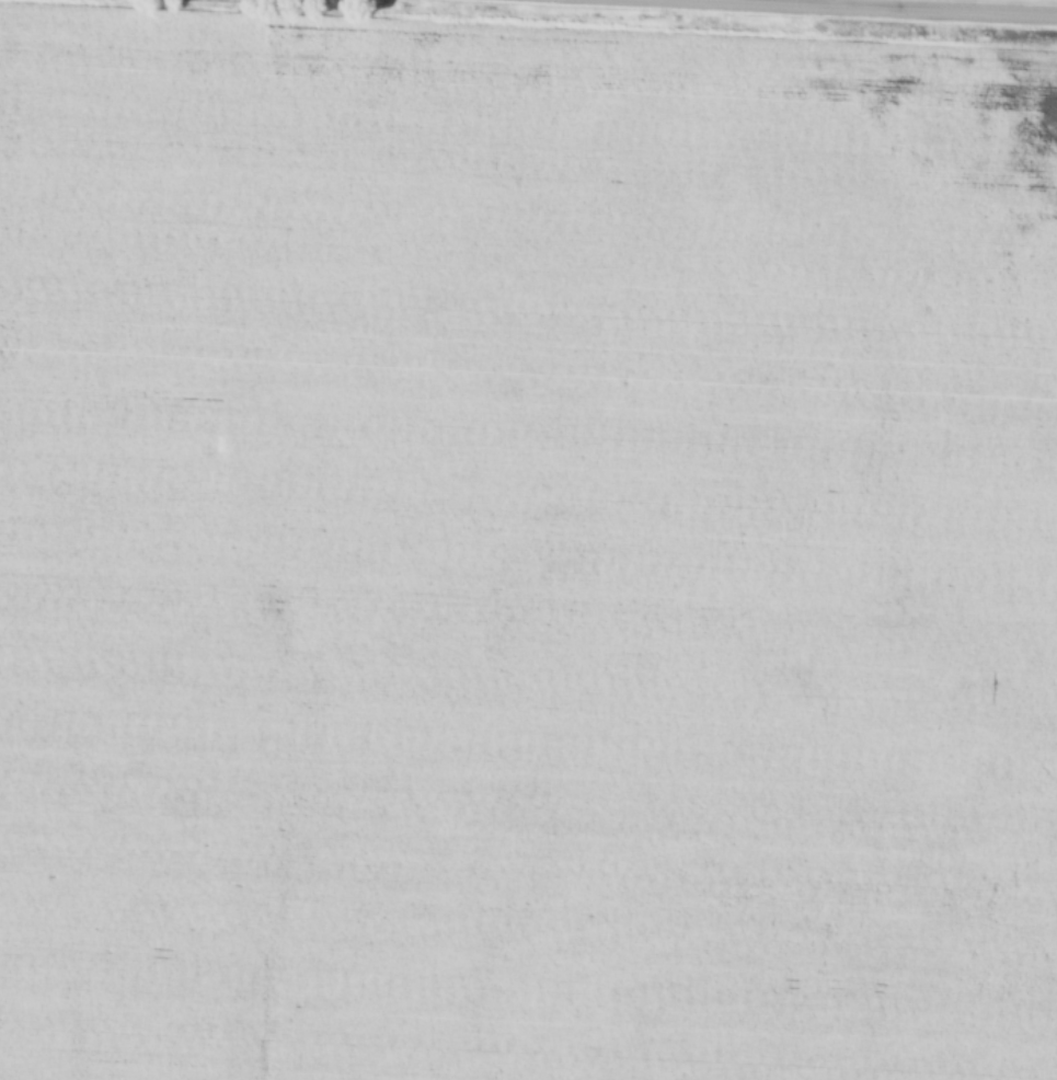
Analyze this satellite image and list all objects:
road: (920, 5)

